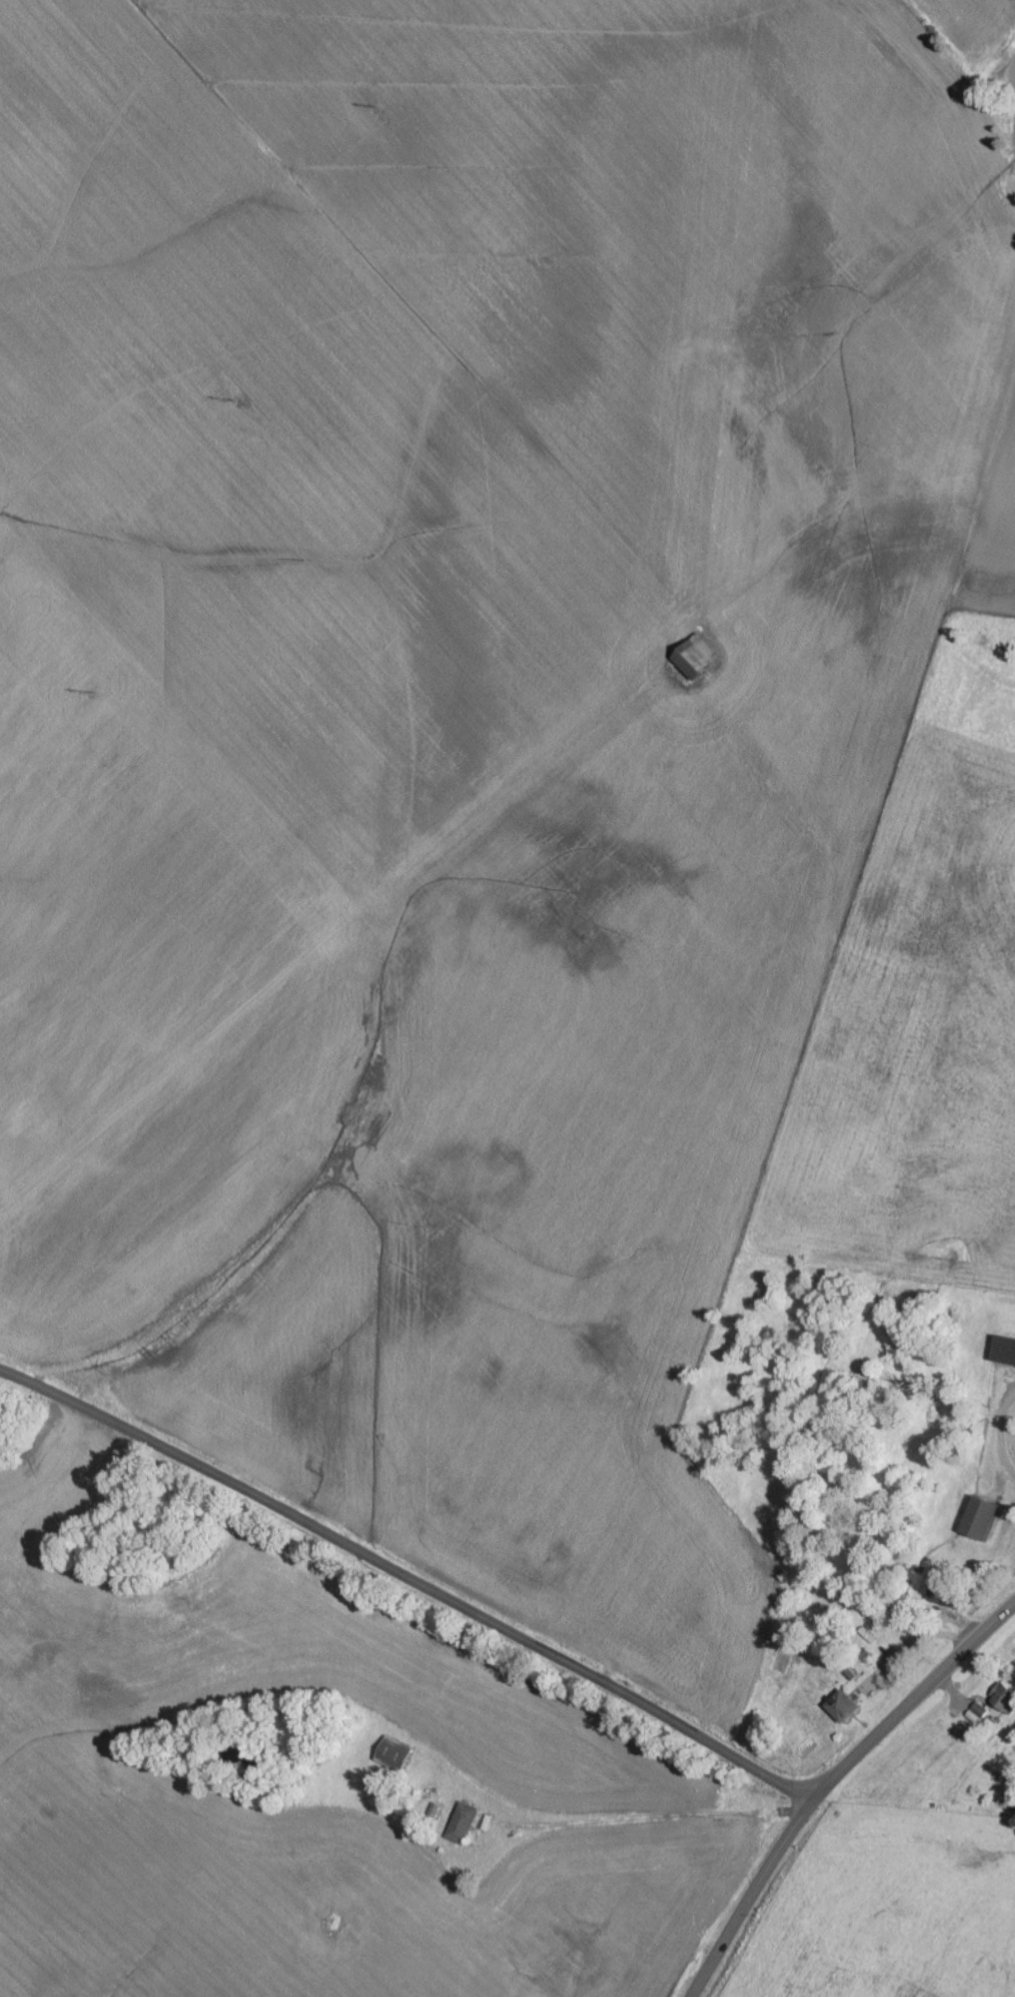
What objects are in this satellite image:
building: (697, 657)
building: (1004, 1351)
building: (981, 1519)
road: (412, 1581)
building: (1007, 1700)
building: (844, 1707)
building: (395, 1754)
road: (833, 1786)
building: (465, 1824)

